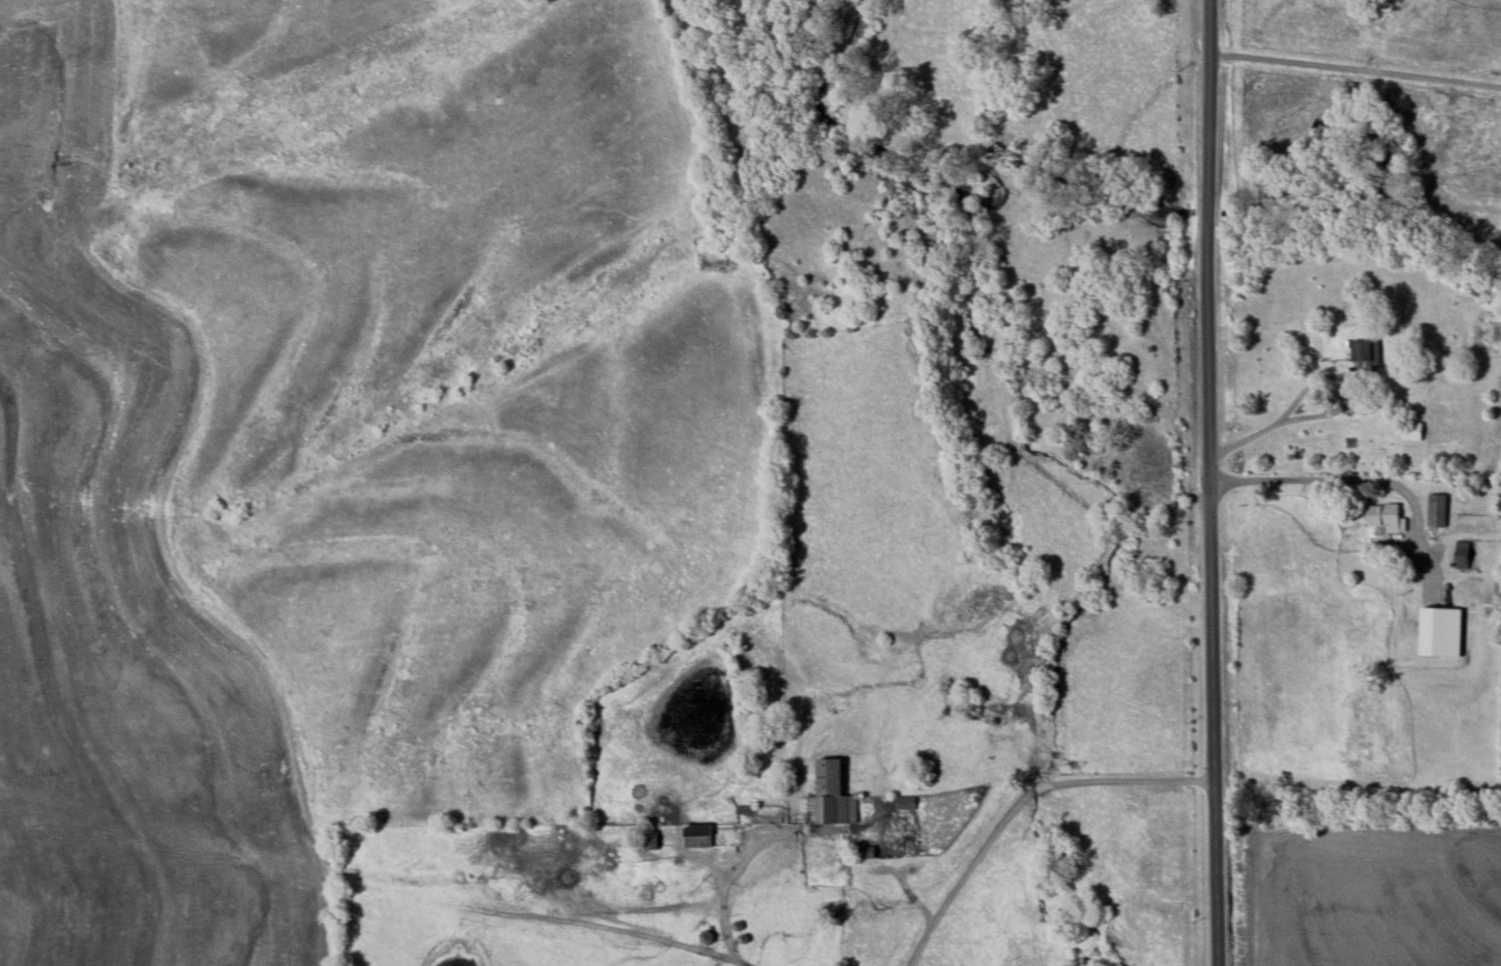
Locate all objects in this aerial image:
road: (1355, 68)
building: (1366, 350)
road: (1305, 400)
building: (1412, 431)
road: (1253, 438)
road: (1213, 483)
road: (1348, 483)
building: (1437, 511)
building: (1384, 516)
building: (1462, 554)
building: (1440, 632)
building: (828, 795)
road: (1025, 797)
building: (697, 836)
road: (732, 915)

